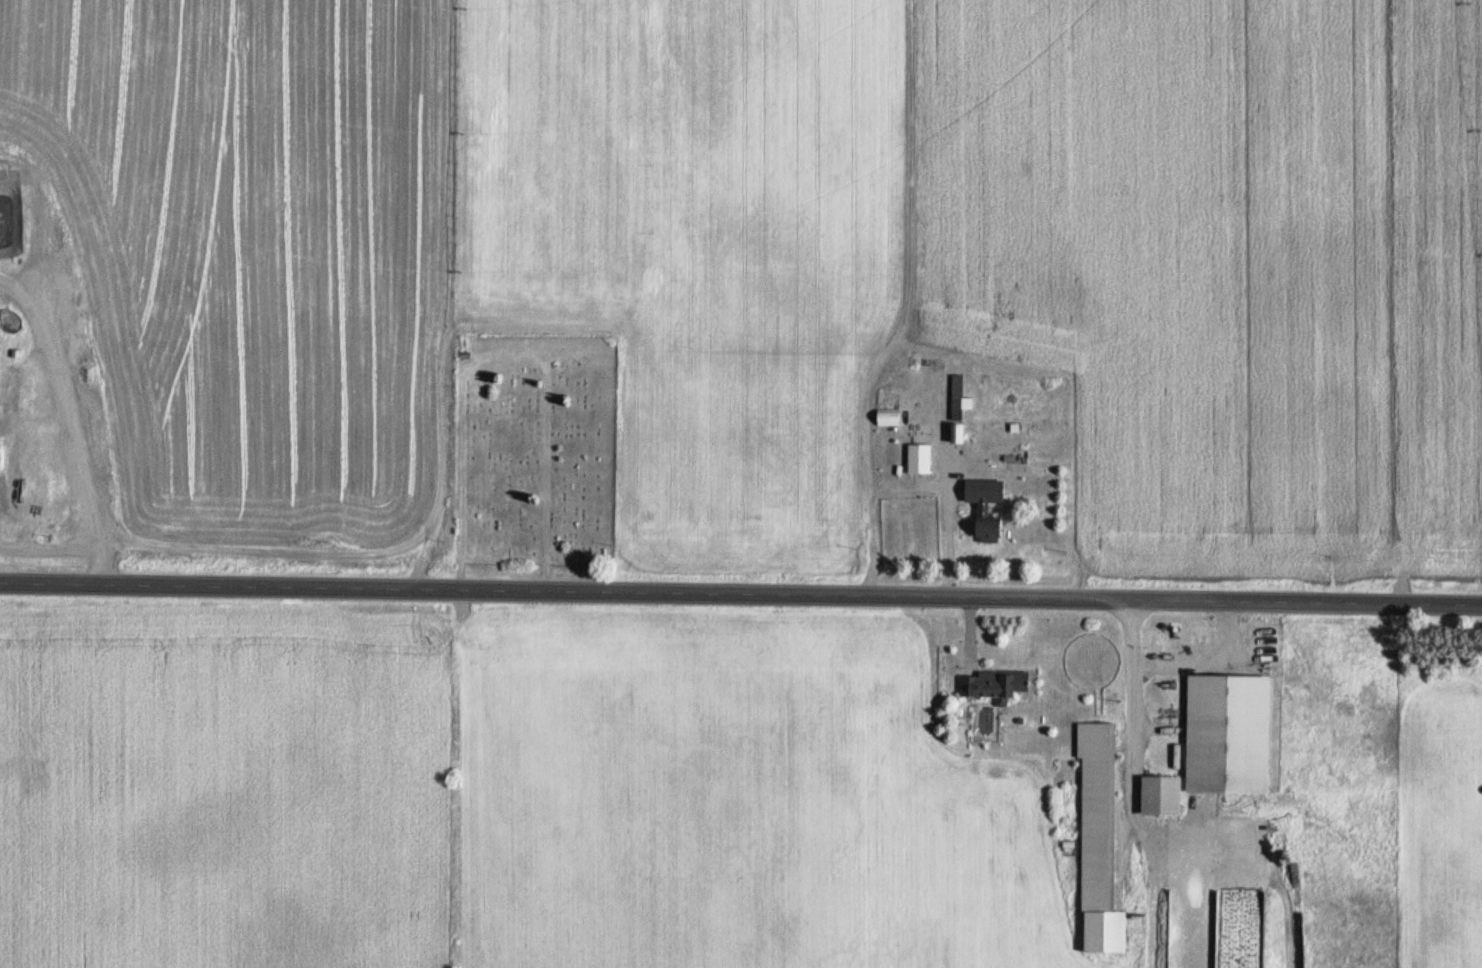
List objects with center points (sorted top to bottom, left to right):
building: (955, 409)
building: (887, 418)
building: (956, 434)
park: (535, 450)
building: (992, 472)
building: (121, 498)
building: (986, 517)
building: (910, 535)
road: (741, 592)
building: (993, 684)
building: (1227, 733)
building: (1160, 794)
building: (1094, 814)

